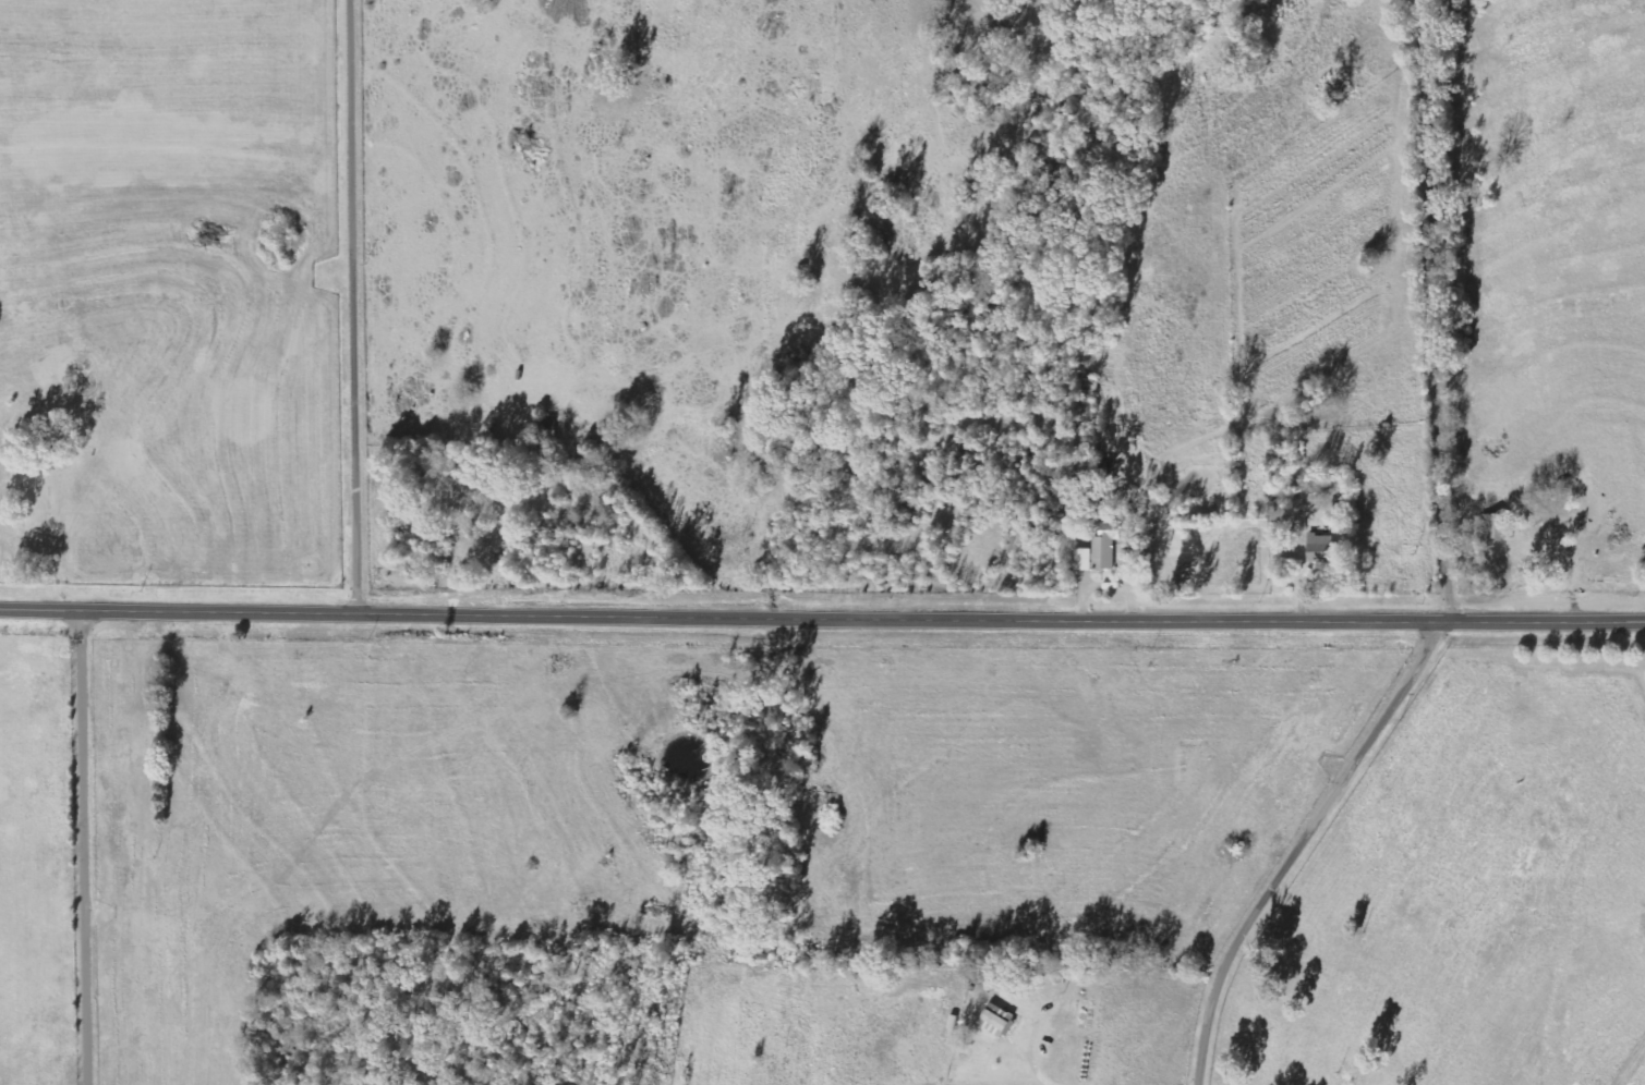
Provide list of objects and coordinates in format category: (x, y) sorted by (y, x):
road: (362, 305)
road: (1446, 312)
building: (1497, 526)
building: (1100, 550)
building: (1322, 550)
road: (822, 620)
road: (1307, 843)
road: (86, 848)
building: (997, 1021)

